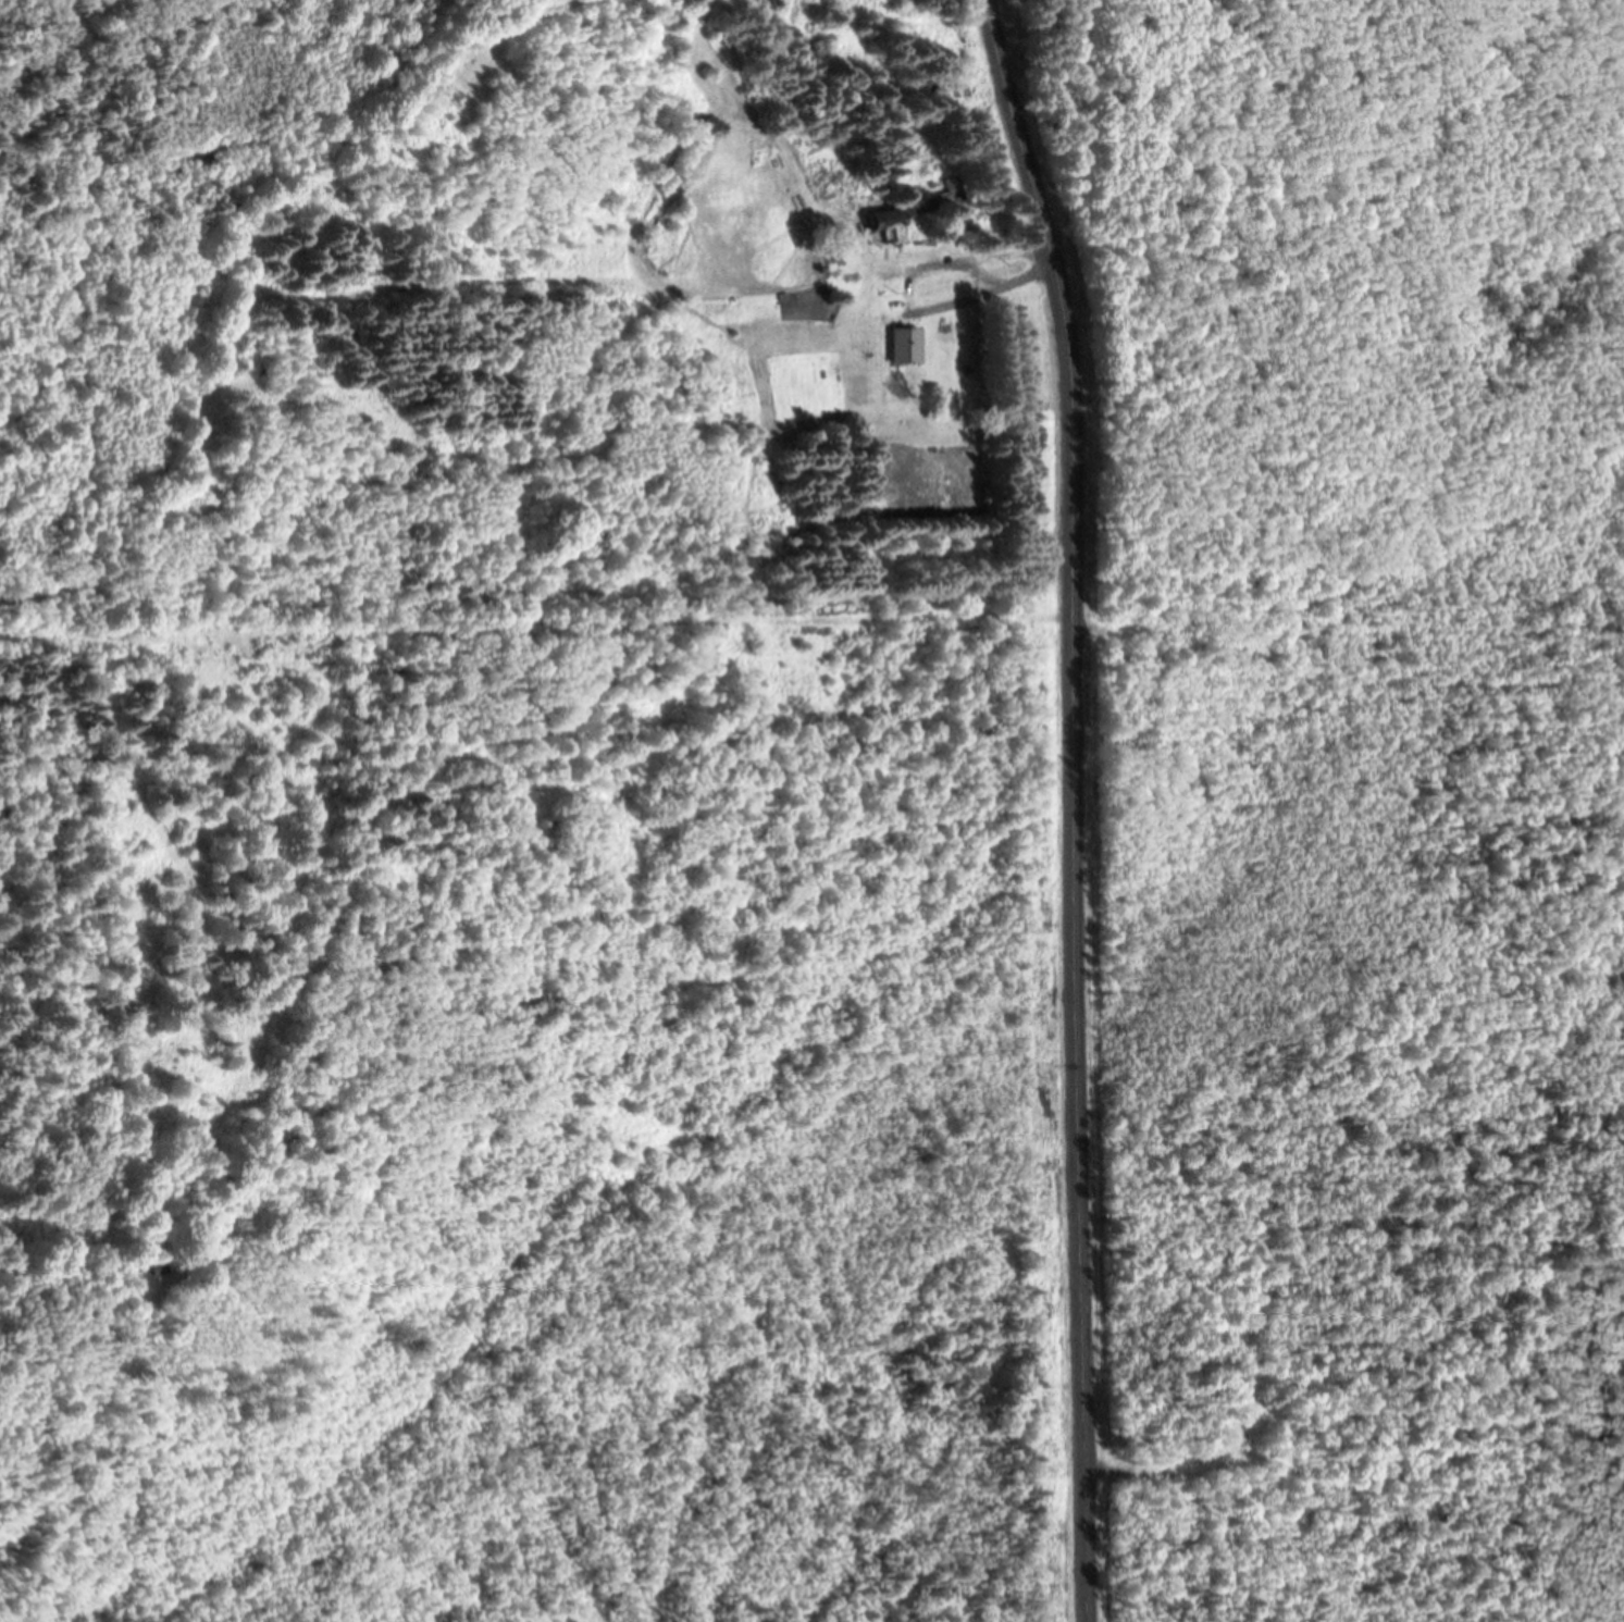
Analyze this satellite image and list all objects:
building: (949, 198)
building: (885, 227)
building: (908, 349)
road: (1080, 805)
building: (160, 1272)

